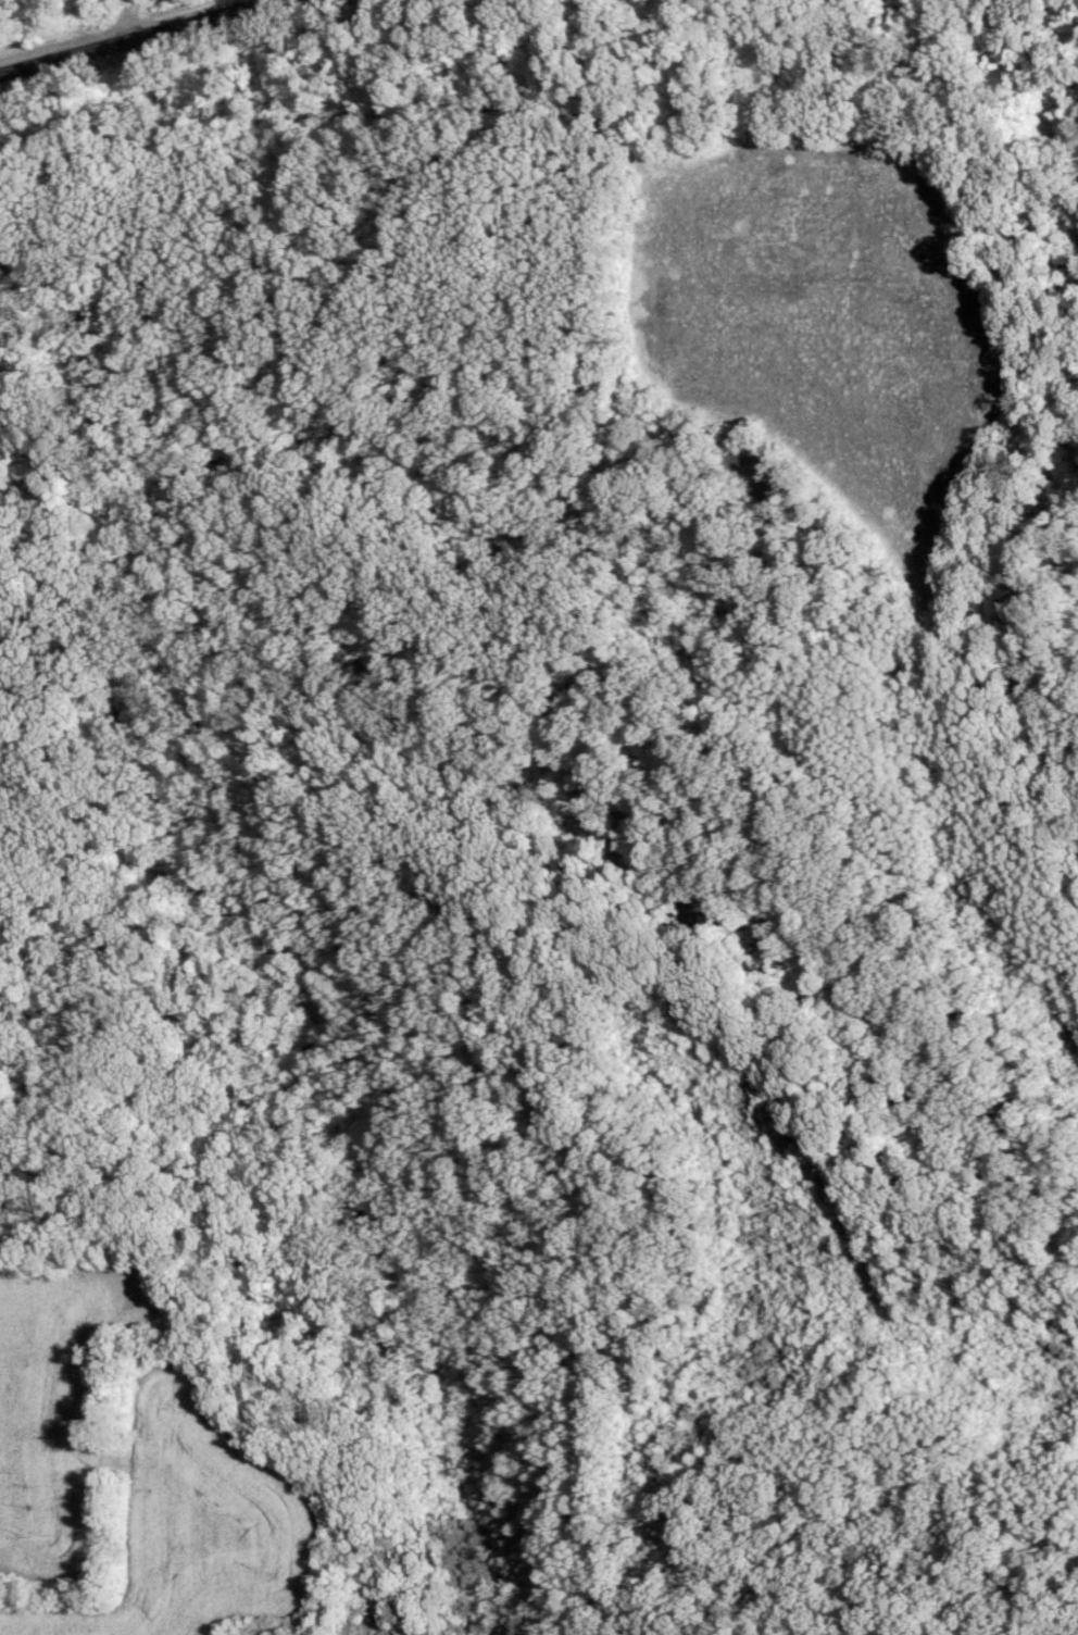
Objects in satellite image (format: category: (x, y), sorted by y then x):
road: (118, 18)
road: (140, 36)

